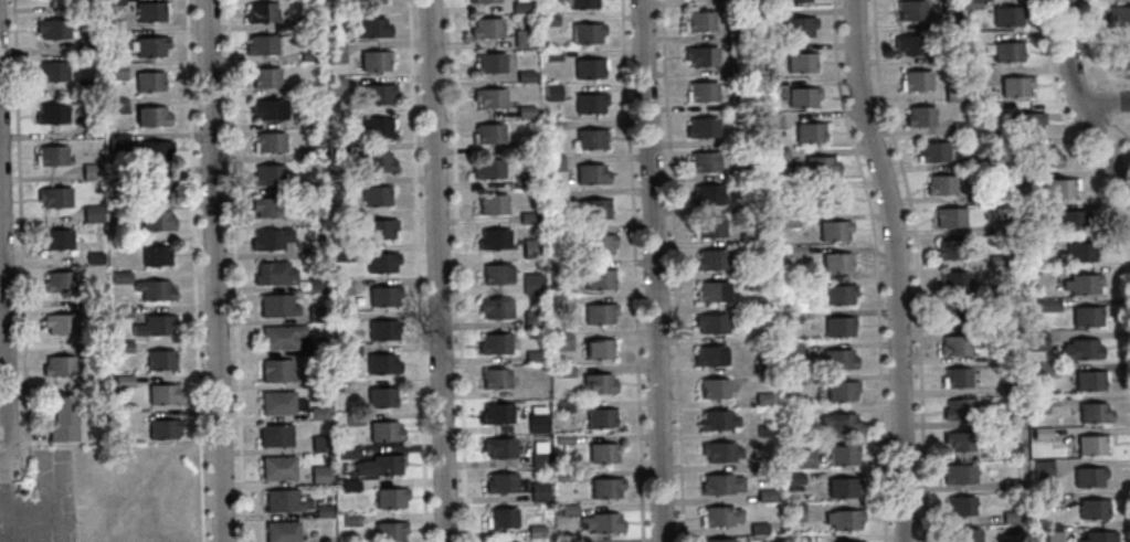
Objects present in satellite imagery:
building: (369, 1)
building: (485, 1)
building: (794, 1)
building: (114, 2)
building: (736, 2)
building: (585, 3)
building: (971, 3)
building: (85, 6)
building: (521, 6)
building: (150, 11)
building: (910, 11)
building: (261, 12)
building: (331, 14)
building: (1007, 17)
building: (1118, 17)
building: (551, 20)
building: (698, 22)
building: (306, 23)
building: (798, 26)
building: (52, 28)
building: (371, 28)
building: (488, 28)
building: (739, 29)
building: (588, 33)
building: (114, 35)
building: (525, 38)
road: (1088, 44)
building: (261, 45)
building: (909, 45)
building: (150, 46)
building: (86, 49)
building: (1008, 52)
building: (334, 53)
building: (553, 53)
building: (307, 55)
building: (701, 56)
building: (1119, 60)
building: (374, 61)
building: (490, 62)
building: (801, 62)
building: (591, 67)
building: (115, 71)
building: (51, 72)
building: (737, 72)
building: (527, 74)
building: (982, 75)
building: (264, 77)
road: (1107, 78)
building: (917, 79)
road: (1079, 81)
building: (148, 82)
building: (765, 83)
building: (334, 85)
building: (1015, 86)
building: (87, 87)
building: (297, 89)
building: (555, 92)
building: (703, 92)
building: (953, 93)
building: (378, 94)
building: (742, 96)
building: (490, 97)
building: (802, 97)
road: (1105, 102)
building: (591, 103)
road: (1101, 103)
building: (116, 105)
road: (1081, 107)
building: (267, 109)
building: (991, 109)
building: (527, 110)
building: (51, 114)
building: (337, 116)
building: (151, 117)
building: (919, 117)
building: (308, 118)
building: (771, 120)
building: (1027, 123)
building: (555, 124)
road: (1119, 126)
building: (377, 128)
building: (701, 128)
building: (961, 129)
building: (489, 132)
building: (810, 132)
building: (592, 138)
building: (117, 140)
building: (529, 141)
building: (268, 142)
building: (1006, 144)
building: (155, 150)
building: (779, 151)
road: (1081, 151)
building: (309, 152)
building: (336, 152)
building: (932, 152)
building: (50, 156)
building: (1044, 157)
building: (557, 161)
building: (376, 162)
building: (703, 162)
building: (968, 164)
building: (820, 167)
building: (489, 168)
building: (91, 172)
building: (593, 172)
building: (117, 173)
building: (271, 177)
building: (1014, 177)
building: (524, 180)
building: (784, 185)
building: (940, 185)
building: (158, 187)
building: (313, 187)
building: (337, 187)
building: (1060, 189)
building: (556, 193)
building: (376, 195)
building: (706, 195)
building: (54, 198)
building: (826, 200)
building: (493, 203)
building: (751, 204)
building: (267, 208)
building: (596, 209)
building: (118, 210)
building: (1036, 210)
building: (91, 214)
building: (529, 215)
building: (310, 217)
building: (339, 217)
building: (949, 217)
building: (789, 219)
building: (156, 221)
building: (1070, 221)
building: (709, 227)
building: (996, 227)
building: (379, 229)
building: (833, 231)
building: (557, 233)
building: (494, 238)
building: (750, 238)
building: (56, 240)
building: (270, 240)
building: (1033, 241)
building: (118, 242)
building: (601, 244)
building: (532, 246)
building: (799, 249)
building: (949, 249)
building: (314, 251)
road: (20, 253)
building: (1078, 253)
building: (341, 254)
building: (155, 256)
building: (94, 258)
building: (711, 261)
building: (996, 261)
building: (380, 263)
building: (836, 264)
road: (877, 268)
road: (895, 268)
road: (917, 268)
road: (196, 270)
road: (214, 270)
road: (234, 270)
road: (418, 270)
road: (436, 270)
road: (458, 270)
building: (560, 270)
road: (634, 270)
road: (653, 270)
road: (674, 270)
building: (273, 274)
building: (497, 274)
building: (120, 277)
building: (601, 278)
building: (59, 281)
building: (953, 281)
building: (315, 284)
building: (1083, 284)
building: (340, 287)
building: (1035, 288)
building: (154, 290)
building: (1002, 291)
building: (711, 293)
building: (838, 295)
building: (383, 296)
building: (96, 299)
building: (758, 300)
building: (564, 302)
building: (276, 306)
building: (1044, 306)
building: (497, 308)
building: (122, 312)
building: (600, 312)
building: (951, 313)
building: (316, 315)
building: (791, 315)
building: (1088, 317)
building: (340, 318)
building: (531, 320)
building: (59, 323)
building: (711, 323)
building: (999, 323)
building: (154, 326)
building: (838, 327)
building: (382, 330)
building: (281, 337)
building: (562, 339)
building: (95, 340)
building: (1036, 341)
building: (496, 342)
building: (316, 346)
building: (954, 346)
building: (122, 347)
building: (600, 348)
building: (793, 349)
building: (1080, 350)
building: (349, 351)
road: (3, 353)
building: (535, 353)
building: (1010, 355)
building: (710, 357)
building: (159, 360)
building: (838, 360)
building: (381, 364)
building: (765, 365)
building: (57, 366)
building: (564, 369)
building: (277, 371)
building: (1042, 372)
building: (496, 378)
building: (955, 379)
building: (793, 380)
building: (123, 381)
building: (1090, 381)
building: (97, 382)
building: (317, 382)
building: (600, 383)
building: (712, 389)
building: (1006, 389)
building: (841, 391)
building: (162, 395)
building: (765, 396)
building: (380, 397)
building: (279, 403)
building: (564, 403)
building: (1038, 404)
building: (794, 410)
building: (959, 410)
building: (497, 413)
building: (318, 414)
building: (1094, 414)
building: (603, 417)
building: (538, 418)
building: (61, 419)
building: (352, 419)
building: (717, 421)
building: (1008, 421)
building: (117, 424)
building: (839, 424)
building: (764, 426)
building: (162, 429)
building: (383, 432)
building: (1041, 433)
building: (274, 436)
building: (563, 438)
road: (2, 439)
building: (960, 443)
building: (319, 444)
building: (1091, 446)
building: (500, 447)
building: (719, 451)
building: (1010, 451)
building: (346, 453)
building: (604, 453)
building: (842, 456)
building: (540, 458)
building: (799, 458)
road: (3, 461)
building: (769, 461)
building: (379, 466)
building: (277, 468)
building: (1042, 469)
building: (566, 474)
building: (958, 475)
building: (318, 476)
building: (794, 477)
building: (1089, 478)
building: (503, 482)
building: (720, 485)
building: (1011, 485)
building: (349, 486)
building: (608, 487)
building: (842, 487)
building: (540, 490)
building: (768, 493)
building: (389, 498)
building: (1049, 498)
building: (281, 501)
building: (960, 506)
building: (568, 507)
building: (1094, 509)
building: (796, 511)
building: (321, 512)
building: (503, 517)
building: (720, 517)
building: (1011, 518)
building: (843, 519)
building: (349, 520)
building: (601, 521)
building: (760, 527)
building: (536, 529)
building: (281, 531)
building: (389, 532)
building: (1050, 533)
building: (967, 535)
building: (801, 536)
building: (1099, 536)
building: (570, 540)
building: (716, 540)
building: (847, 541)

